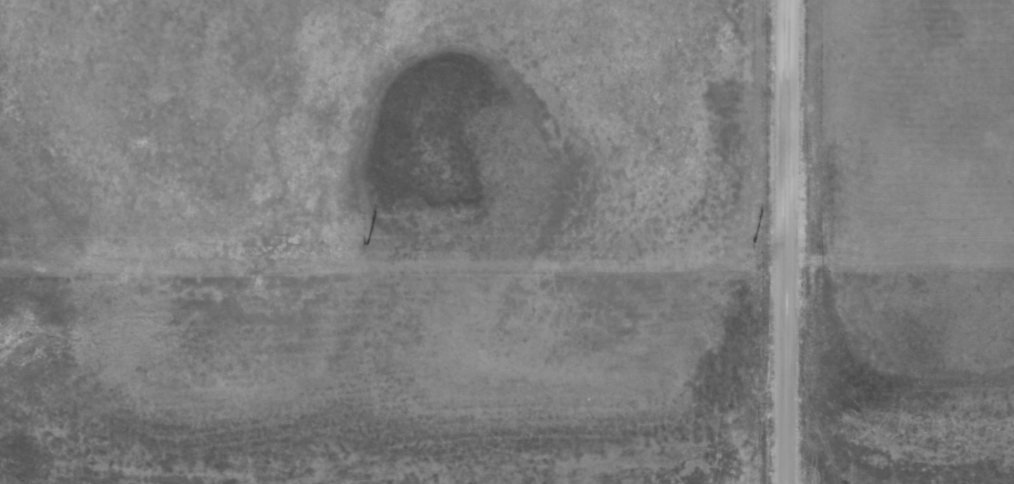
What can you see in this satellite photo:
road: (789, 241)
power tower: (754, 242)
power tower: (366, 243)

